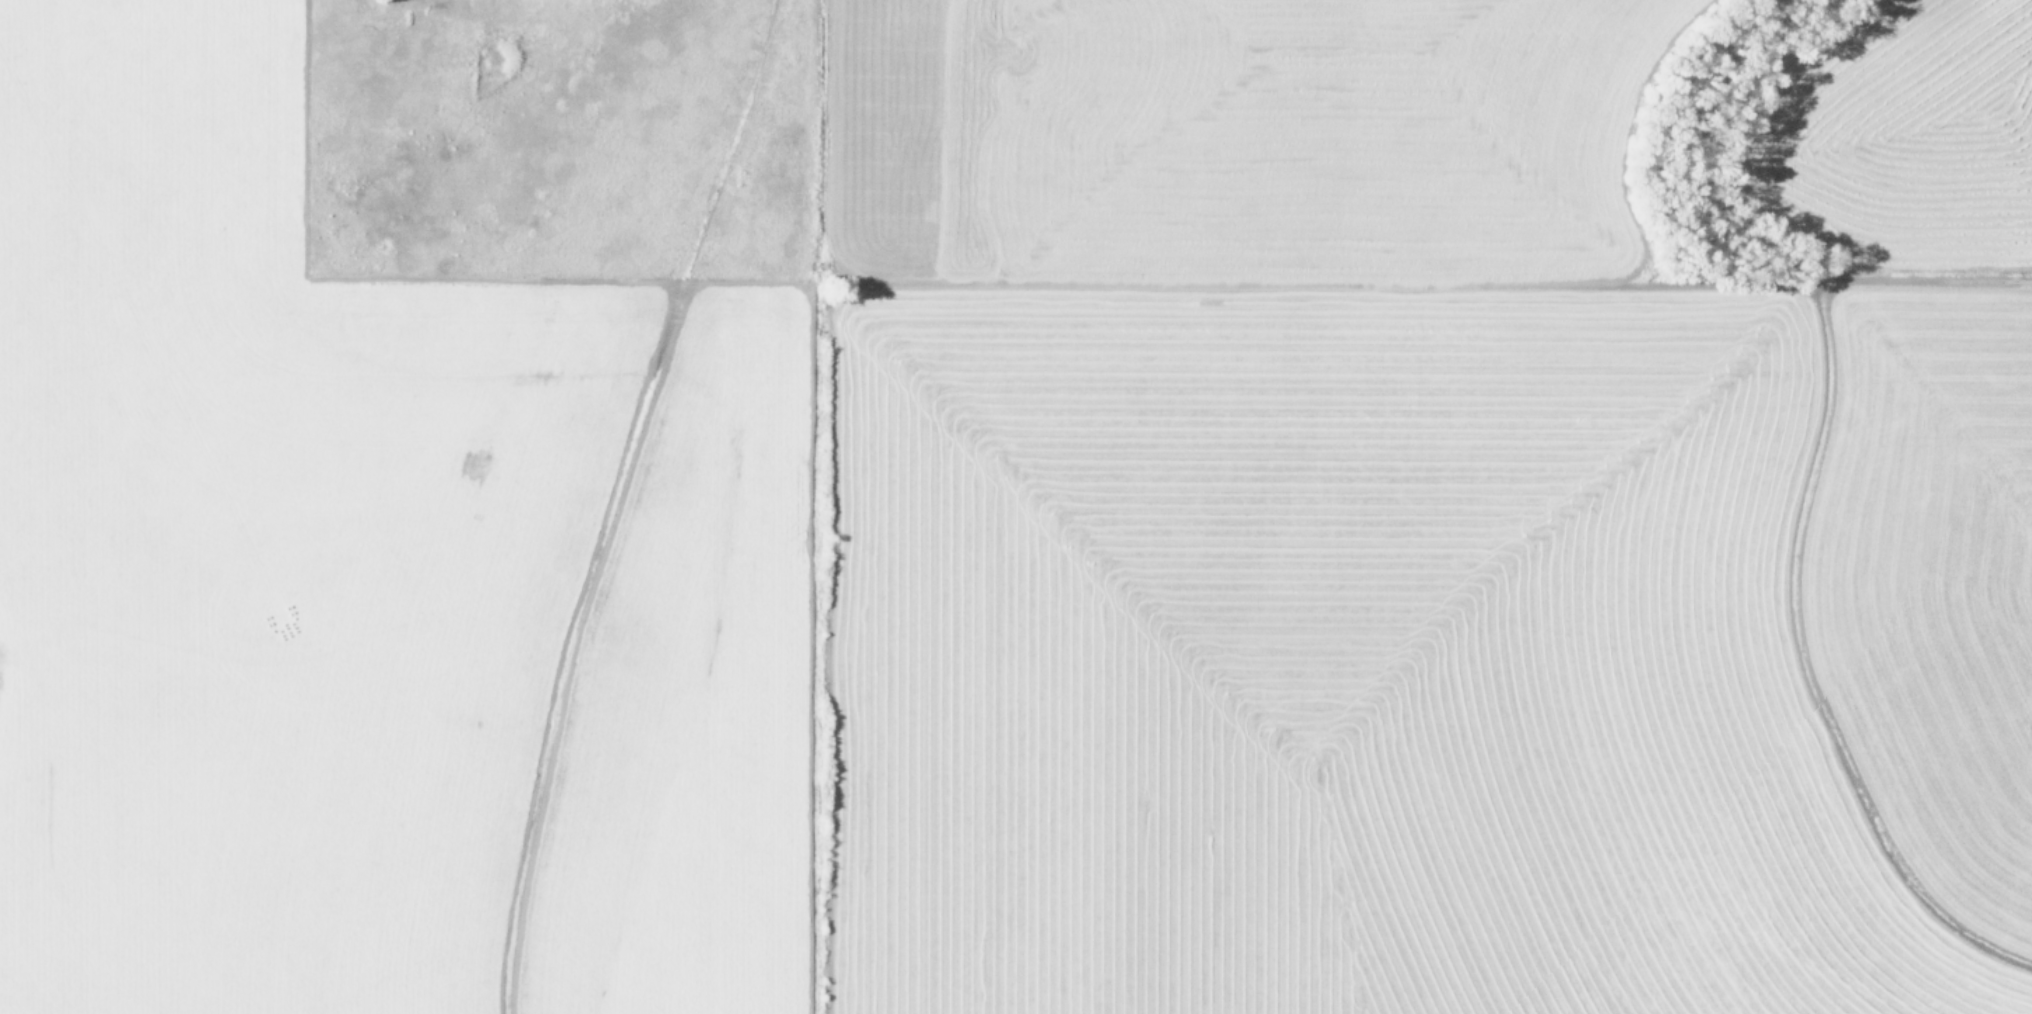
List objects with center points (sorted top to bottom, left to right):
crop: (1016, 507)

